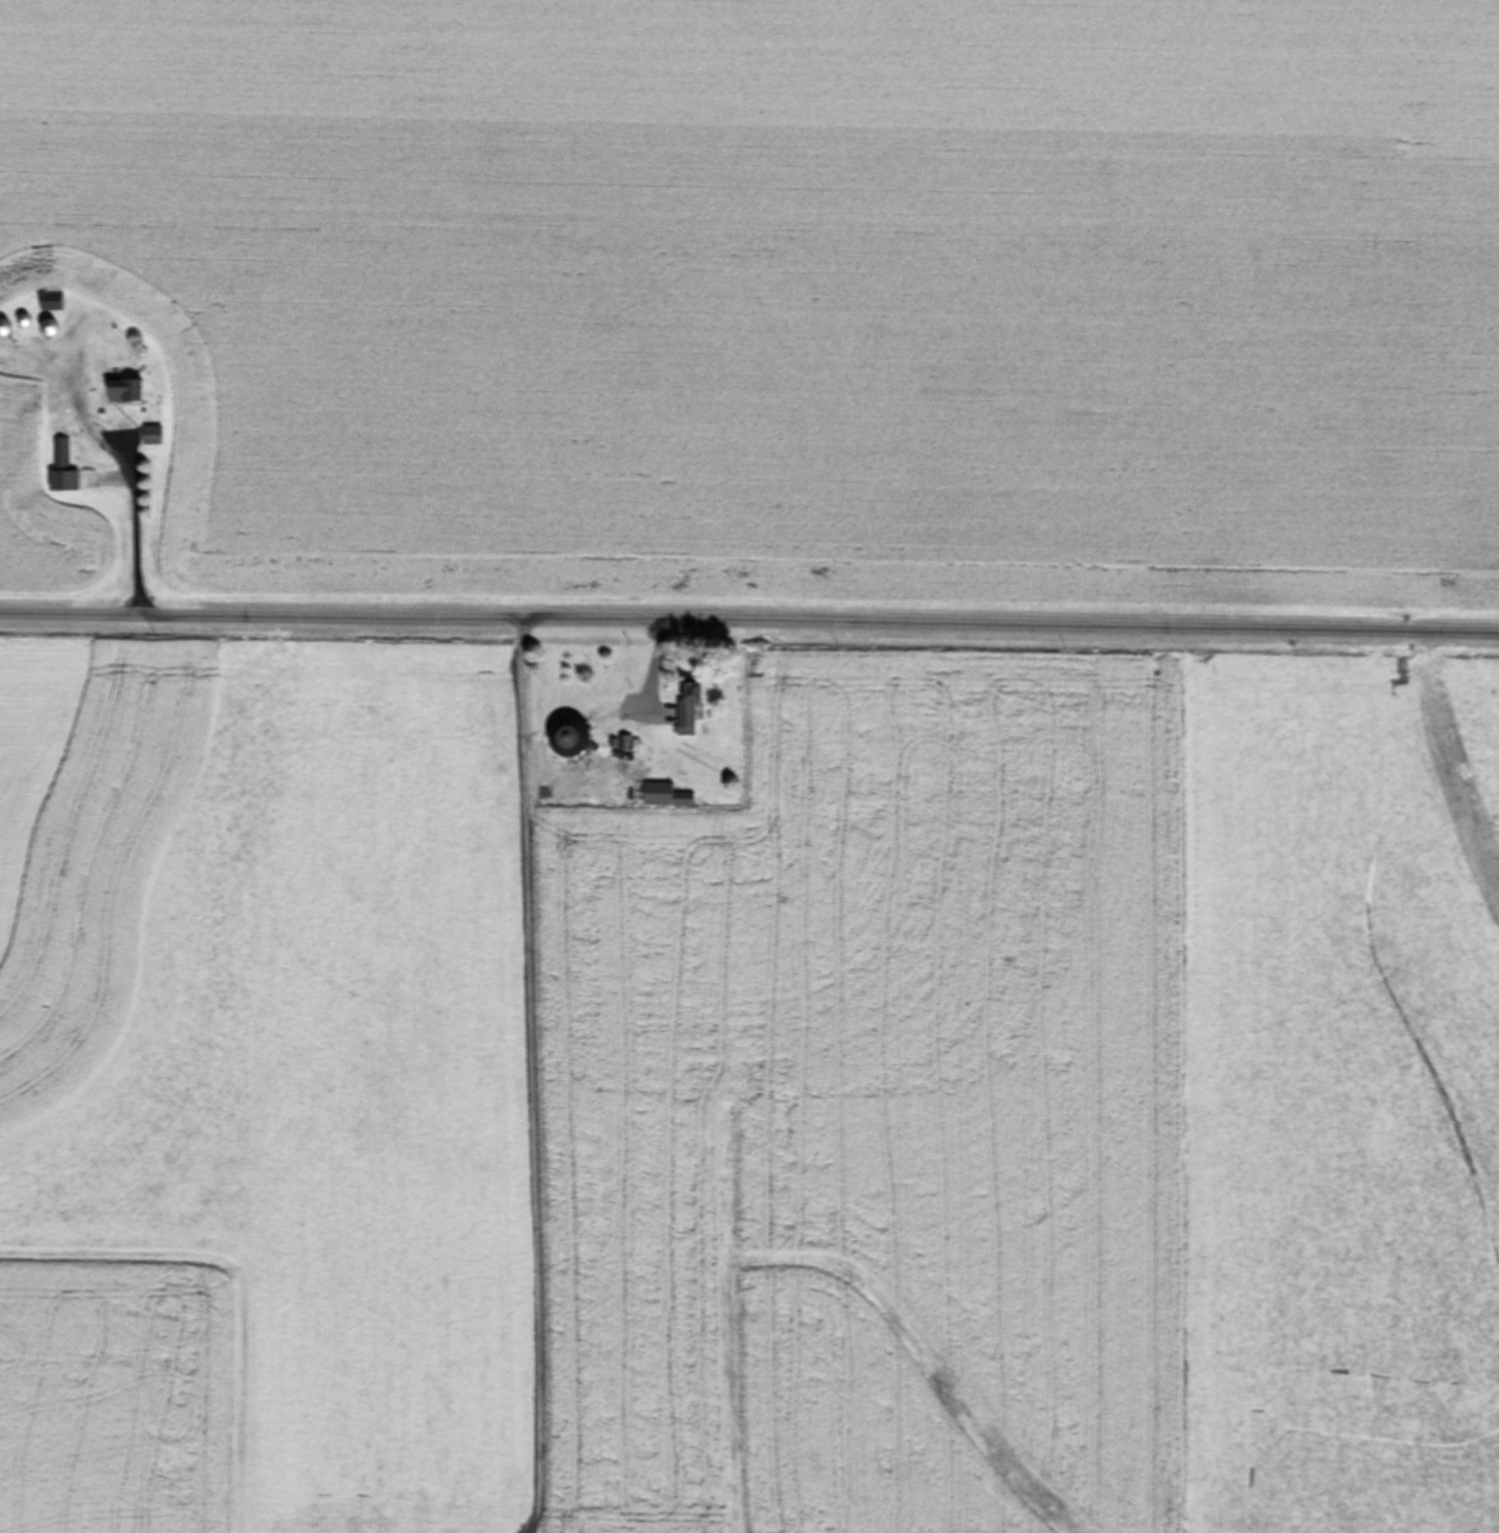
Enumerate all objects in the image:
building: (2, 328)
building: (45, 329)
building: (123, 392)
building: (62, 470)
road: (749, 624)
building: (684, 720)
building: (662, 796)

